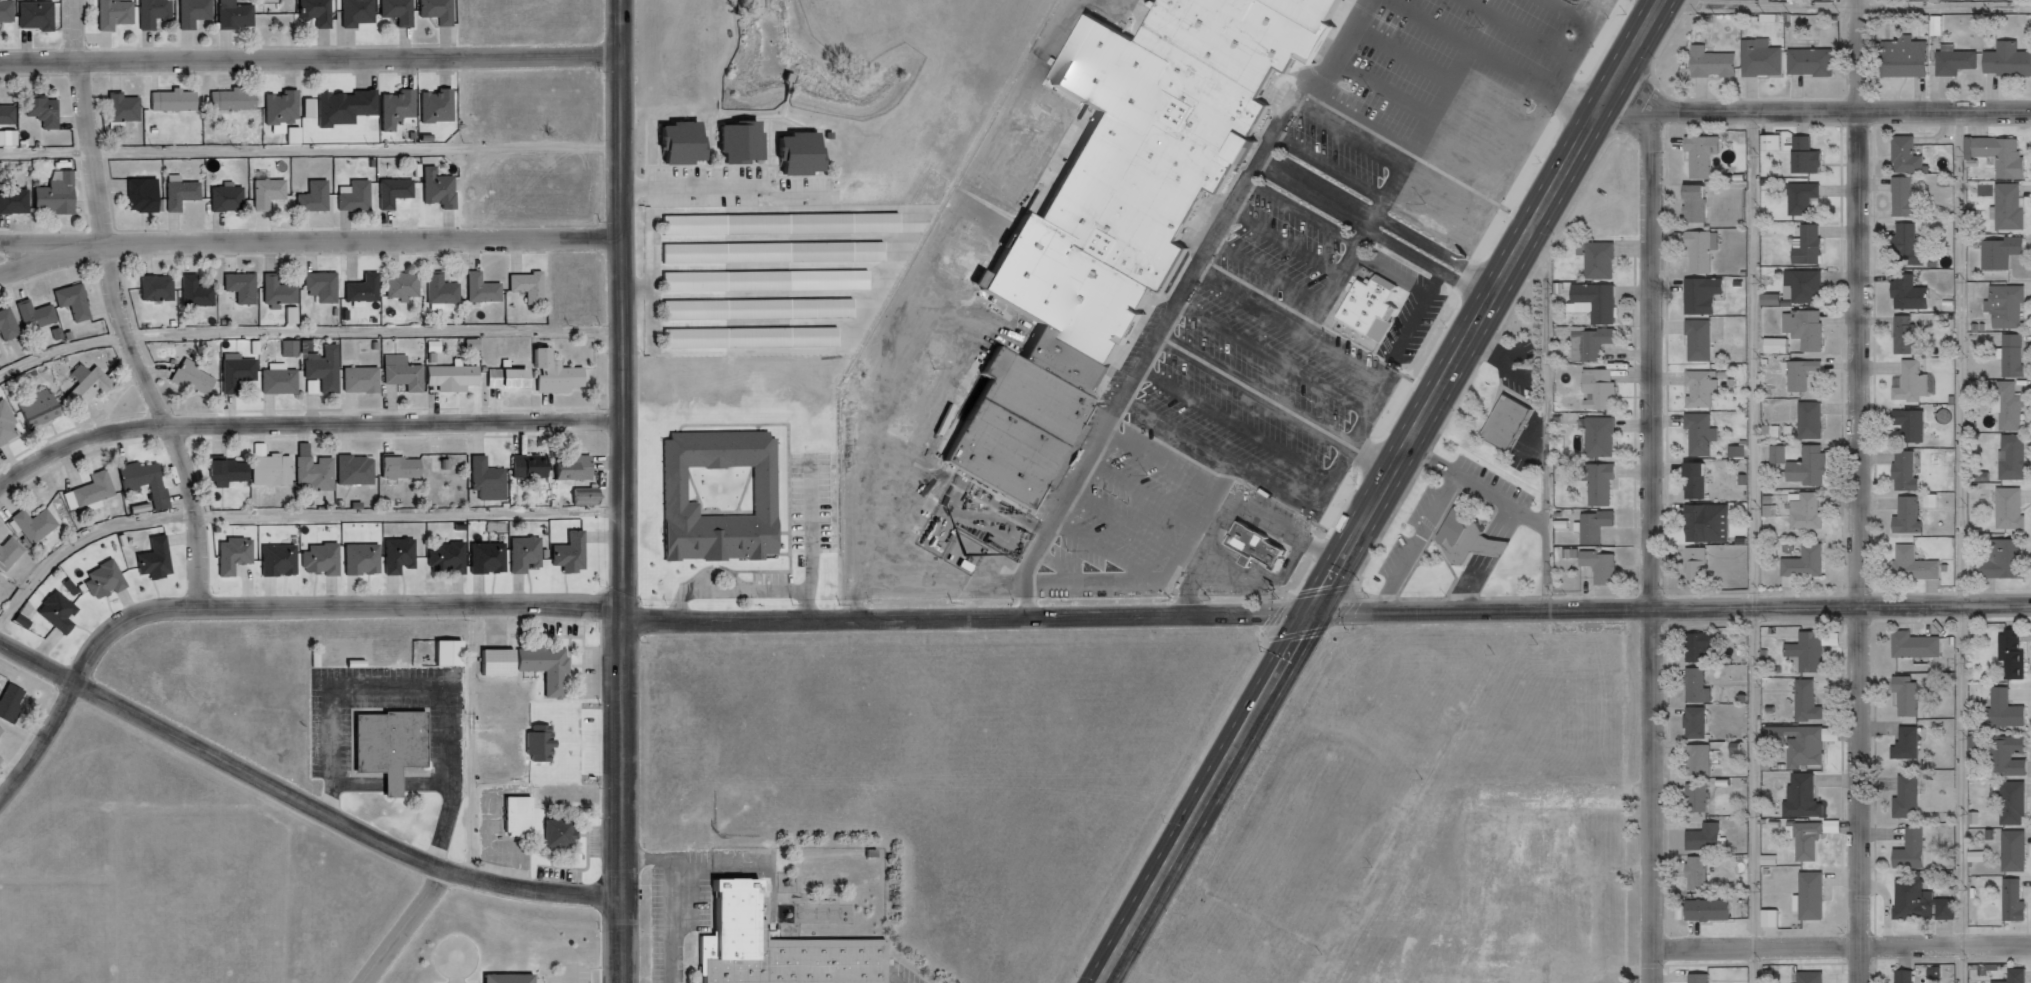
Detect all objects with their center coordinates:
road: (1844, 8)
building: (8, 11)
building: (404, 12)
building: (443, 12)
building: (1315, 12)
building: (322, 13)
building: (40, 14)
building: (159, 14)
building: (201, 14)
building: (363, 14)
building: (120, 16)
building: (240, 18)
building: (1241, 38)
road: (314, 57)
building: (1768, 62)
building: (1910, 62)
building: (2012, 63)
building: (1818, 65)
building: (1961, 65)
building: (1720, 67)
road: (1630, 101)
building: (237, 103)
building: (178, 104)
building: (314, 106)
building: (48, 110)
building: (351, 110)
road: (1944, 110)
building: (288, 111)
building: (442, 111)
road: (1755, 111)
building: (129, 112)
building: (402, 112)
building: (9, 113)
building: (12, 137)
building: (299, 139)
building: (744, 145)
building: (685, 146)
building: (1149, 151)
road: (313, 152)
building: (803, 154)
building: (1701, 154)
building: (1993, 154)
building: (1800, 156)
building: (1901, 156)
road: (731, 187)
building: (437, 188)
building: (392, 191)
building: (266, 193)
building: (178, 194)
building: (139, 195)
building: (310, 197)
building: (353, 197)
building: (61, 198)
building: (1899, 198)
building: (1800, 199)
building: (225, 200)
building: (17, 205)
building: (1694, 205)
building: (2004, 206)
road: (1373, 214)
building: (786, 227)
road: (1365, 229)
road: (310, 243)
building: (1903, 244)
building: (1802, 245)
road: (55, 246)
building: (1698, 251)
building: (1995, 252)
building: (777, 255)
building: (1599, 260)
road: (1481, 283)
building: (771, 284)
building: (319, 285)
building: (401, 285)
building: (526, 285)
building: (1800, 286)
building: (154, 287)
building: (240, 288)
building: (361, 288)
road: (1195, 288)
building: (439, 289)
building: (479, 290)
building: (193, 291)
building: (277, 291)
building: (1070, 292)
building: (1904, 293)
building: (1702, 295)
building: (1596, 301)
building: (80, 305)
building: (2002, 307)
road: (126, 308)
building: (1376, 308)
building: (764, 312)
building: (297, 314)
building: (41, 318)
building: (11, 327)
building: (1800, 329)
road: (309, 333)
building: (1903, 336)
building: (1698, 340)
building: (756, 341)
building: (477, 343)
building: (1596, 343)
building: (438, 345)
building: (259, 346)
building: (253, 347)
building: (288, 349)
building: (2008, 355)
building: (1072, 367)
building: (323, 368)
building: (400, 372)
building: (552, 372)
building: (236, 373)
building: (1796, 374)
building: (449, 376)
building: (504, 377)
building: (190, 378)
building: (359, 380)
building: (278, 381)
building: (1907, 383)
building: (316, 386)
building: (93, 388)
building: (1597, 389)
building: (1699, 390)
building: (1035, 400)
road: (1547, 403)
building: (2005, 408)
building: (42, 412)
building: (1805, 420)
road: (305, 423)
building: (1906, 425)
building: (1513, 426)
building: (8, 427)
building: (1700, 434)
building: (1599, 437)
building: (2008, 457)
building: (1007, 458)
building: (447, 464)
building: (396, 467)
building: (527, 467)
building: (569, 467)
building: (1802, 467)
building: (270, 469)
building: (353, 470)
building: (1900, 471)
building: (224, 472)
building: (314, 472)
building: (486, 480)
building: (1597, 481)
building: (1692, 481)
building: (152, 485)
road: (626, 491)
building: (680, 491)
road: (1380, 491)
road: (1857, 491)
building: (100, 494)
building: (583, 495)
building: (2004, 508)
building: (1802, 511)
building: (1902, 516)
road: (288, 518)
building: (1706, 523)
building: (1594, 527)
building: (41, 528)
building: (1474, 541)
road: (1759, 546)
road: (1967, 546)
road: (1652, 547)
building: (1261, 549)
building: (13, 558)
building: (240, 558)
building: (530, 558)
building: (575, 558)
building: (404, 559)
building: (1996, 559)
building: (161, 561)
building: (331, 561)
building: (452, 561)
building: (493, 561)
building: (284, 563)
building: (368, 563)
building: (1800, 563)
building: (1909, 565)
building: (1696, 566)
building: (1601, 567)
building: (0, 583)
building: (111, 583)
building: (0, 594)
road: (264, 605)
road: (1944, 607)
traffic signals: (1311, 614)
road: (1243, 615)
building: (63, 616)
building: (1911, 645)
building: (1695, 646)
building: (1802, 650)
building: (2008, 650)
building: (453, 656)
building: (502, 665)
building: (551, 671)
building: (1690, 684)
building: (1902, 694)
building: (1804, 699)
building: (14, 707)
building: (2000, 708)
building: (1690, 722)
building: (2, 738)
road: (477, 741)
building: (543, 742)
building: (1902, 744)
building: (1801, 746)
building: (395, 747)
building: (2003, 754)
building: (1694, 759)
building: (1797, 796)
road: (304, 797)
building: (1693, 797)
building: (1902, 797)
building: (2008, 803)
building: (523, 817)
building: (566, 838)
building: (1703, 838)
building: (1804, 841)
building: (1906, 850)
building: (2009, 851)
building: (1693, 873)
building: (1807, 895)
building: (2009, 900)
building: (1916, 902)
building: (1702, 909)
building: (1493, 910)
road: (413, 927)
road: (1945, 945)
road: (1755, 946)
building: (781, 948)
building: (1316, 948)
building: (1900, 975)
building: (2010, 976)
building: (1341, 977)
building: (1694, 977)
building: (1806, 977)
building: (514, 980)

